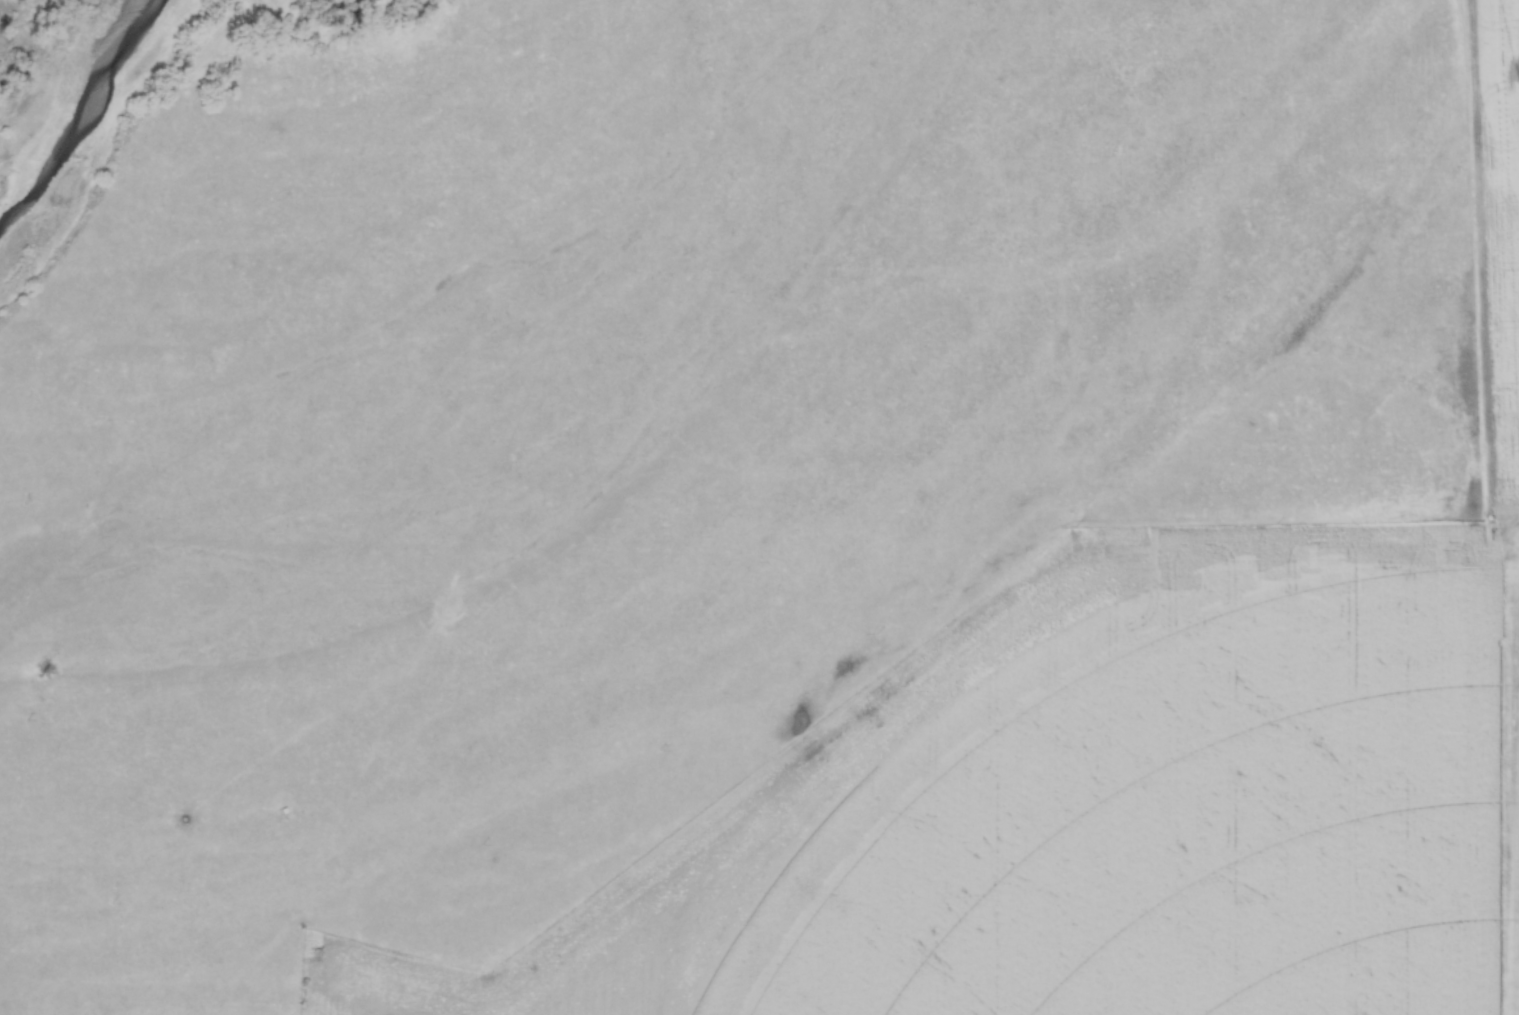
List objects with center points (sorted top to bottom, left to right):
river: (109, 58)
river: (40, 175)

